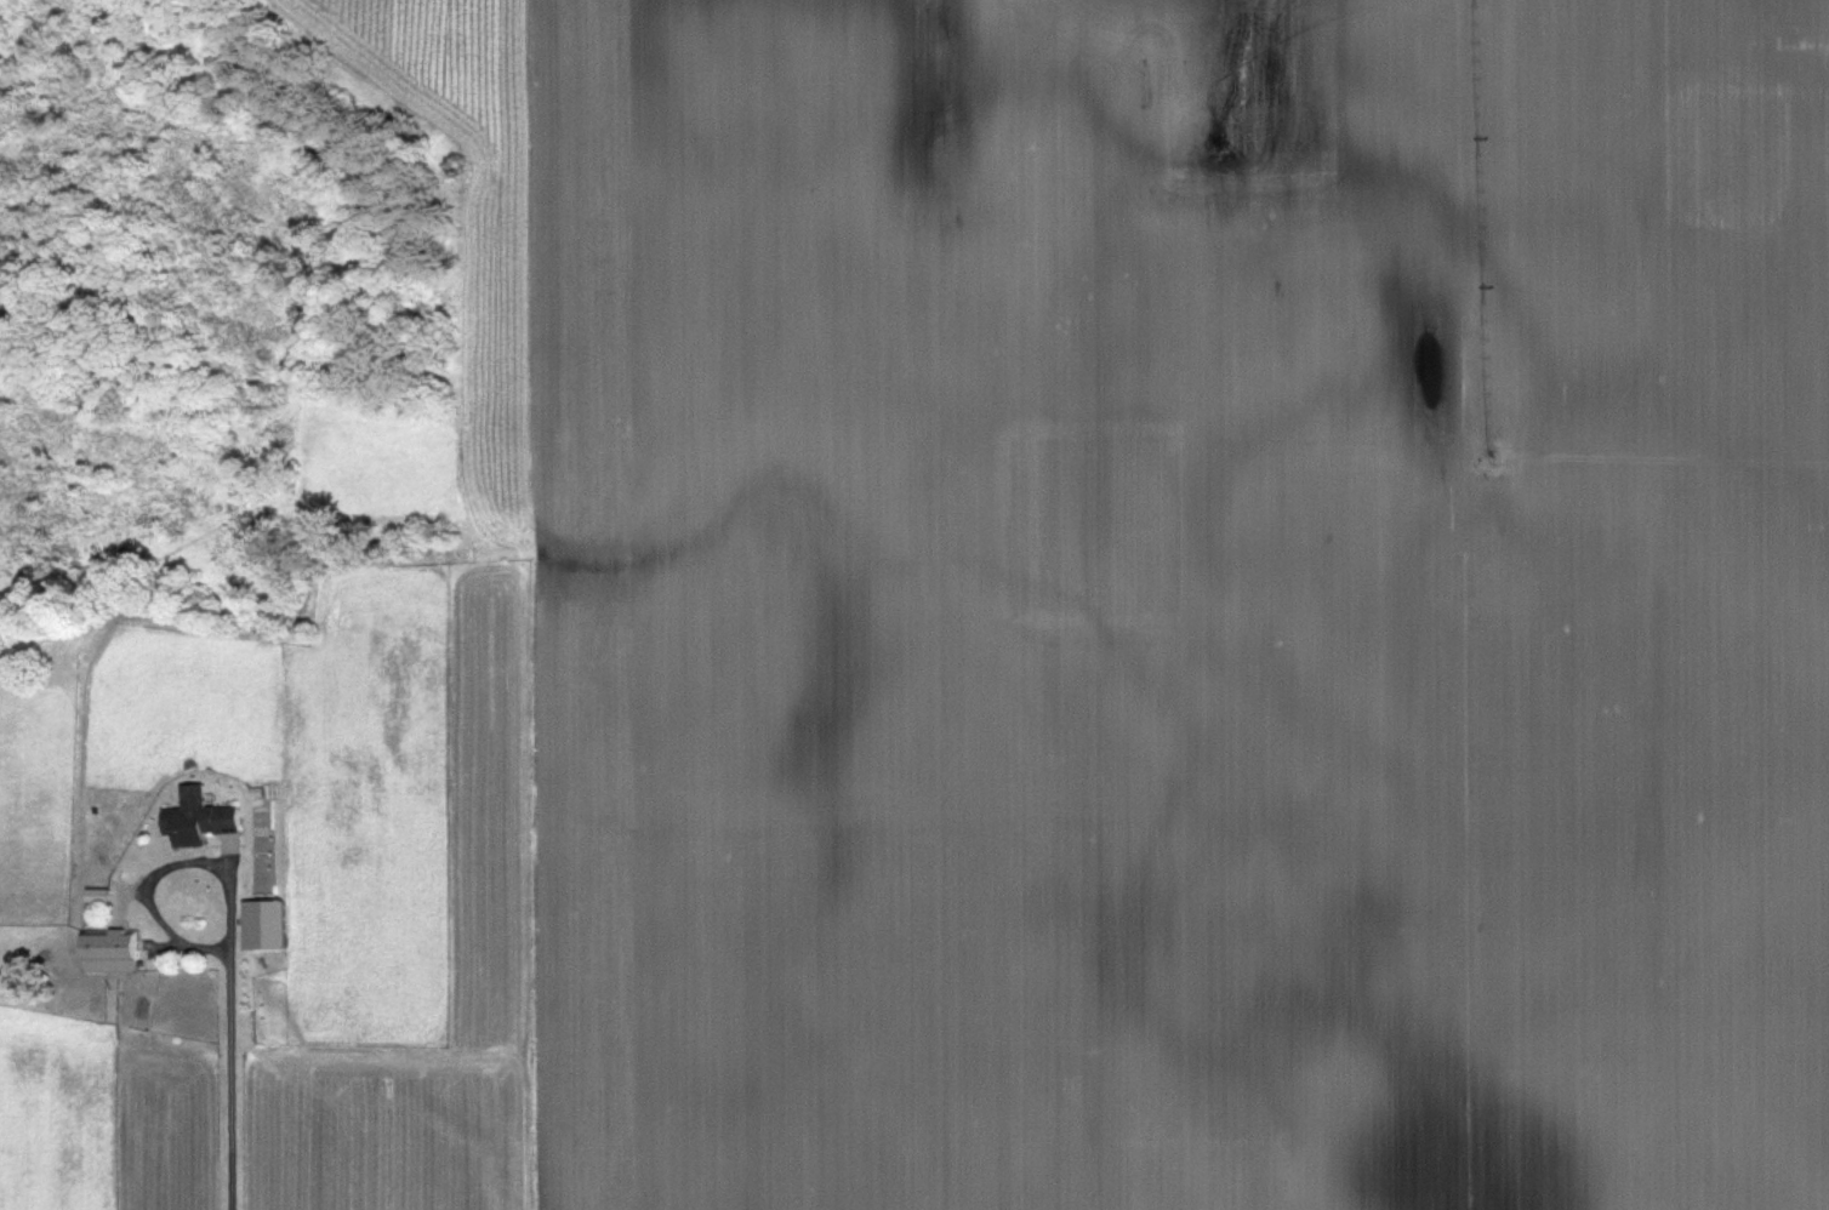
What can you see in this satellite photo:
building: (196, 817)
road: (167, 861)
building: (109, 948)
road: (234, 1075)

